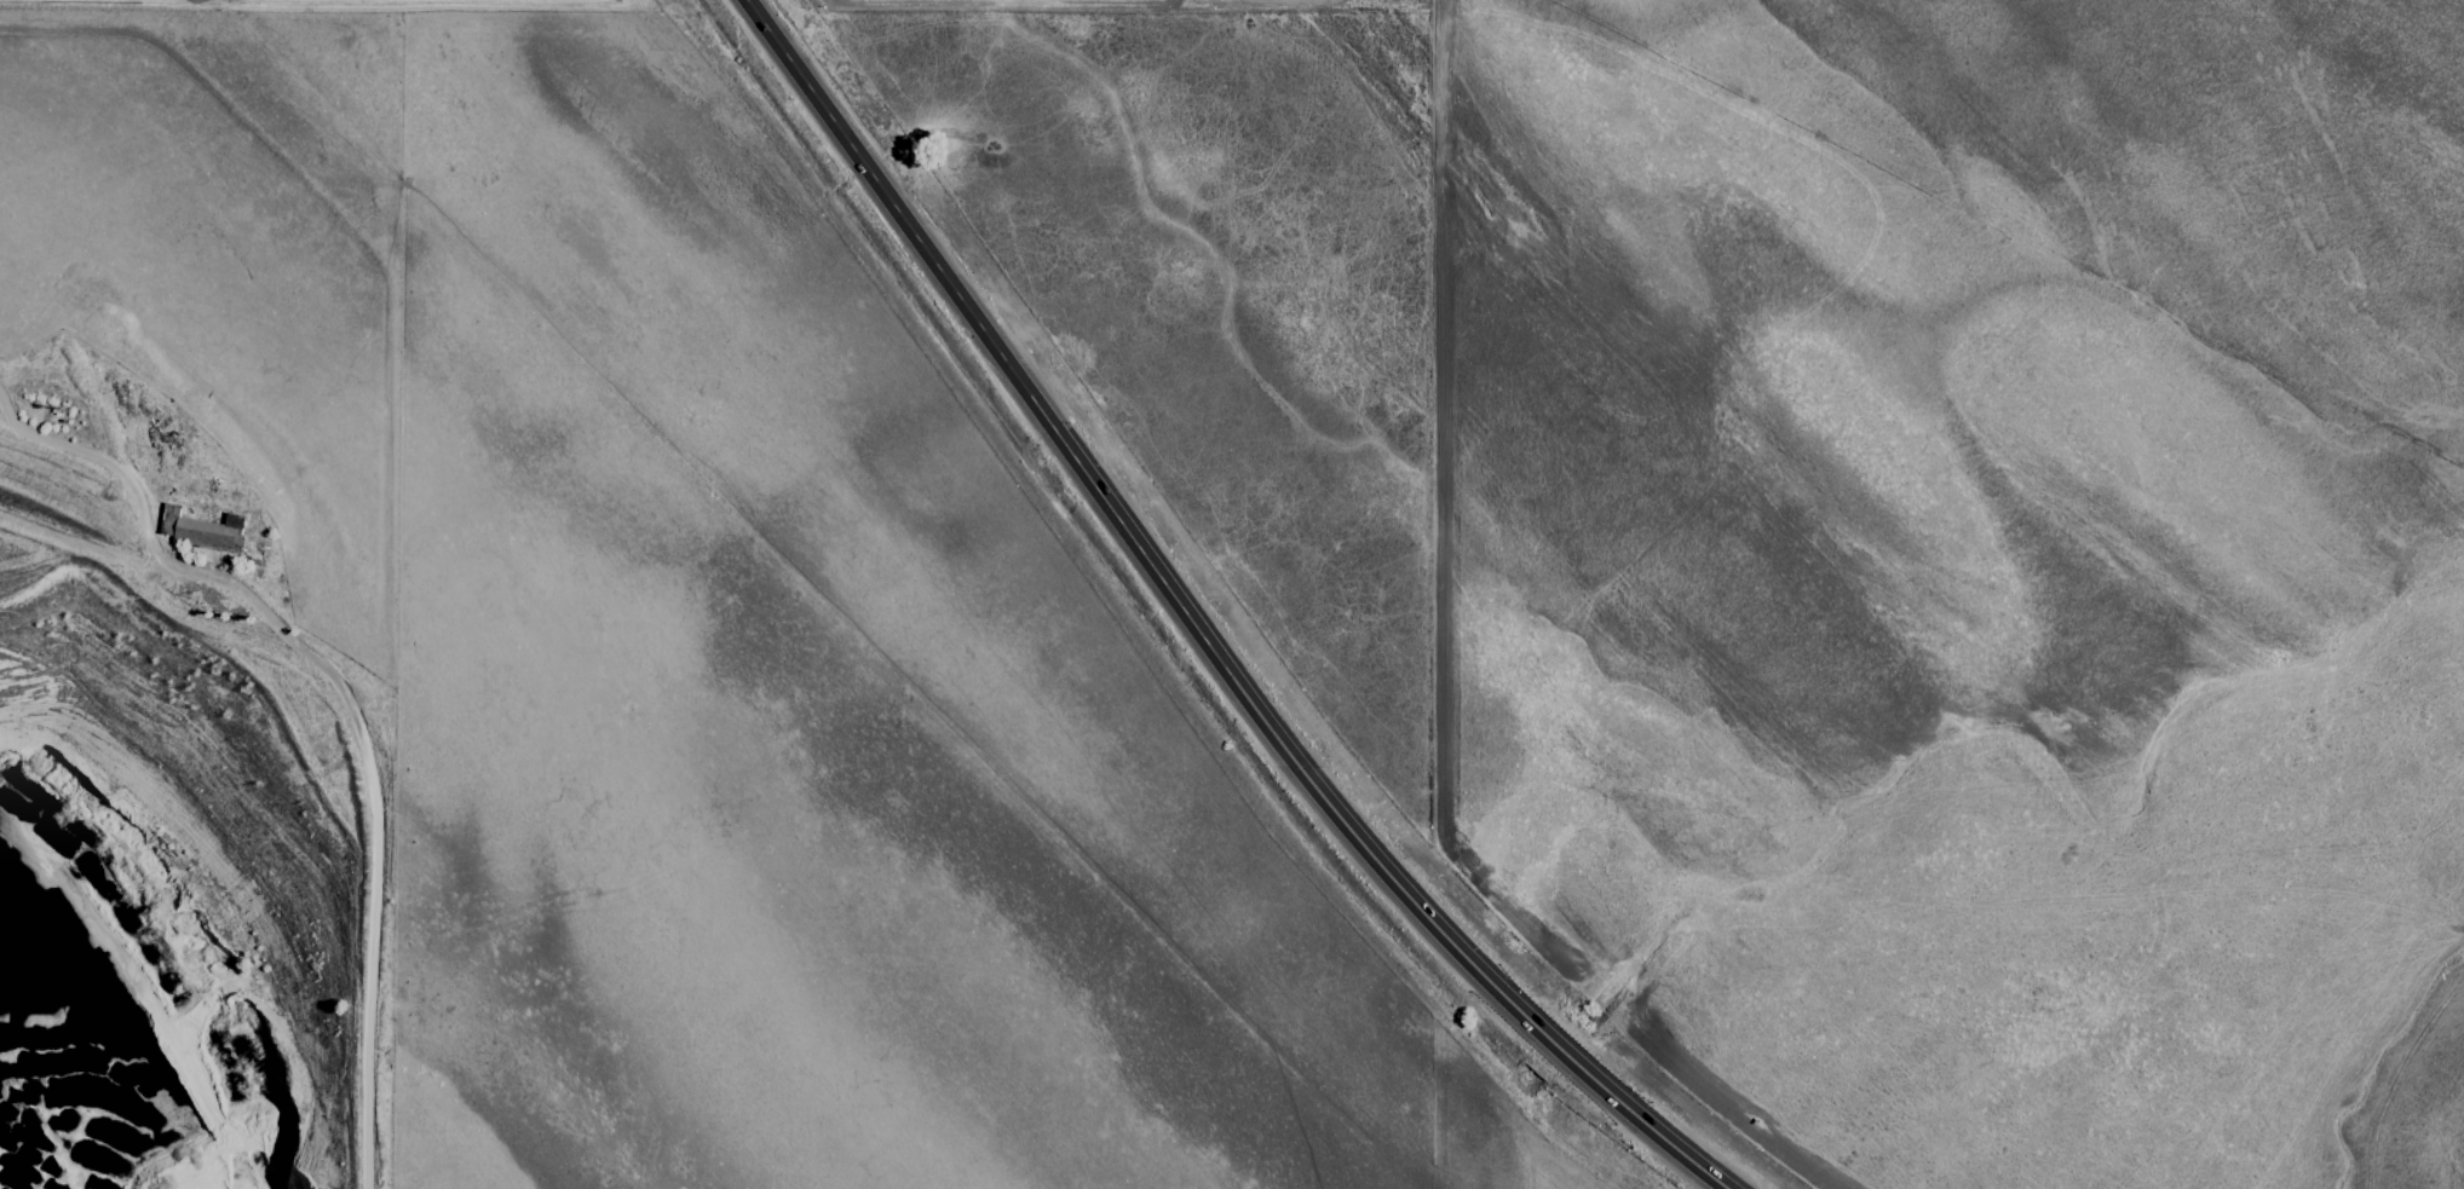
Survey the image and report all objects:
building: (197, 526)
crop: (1336, 570)
road: (1196, 629)
road: (344, 704)
quarry: (67, 971)

